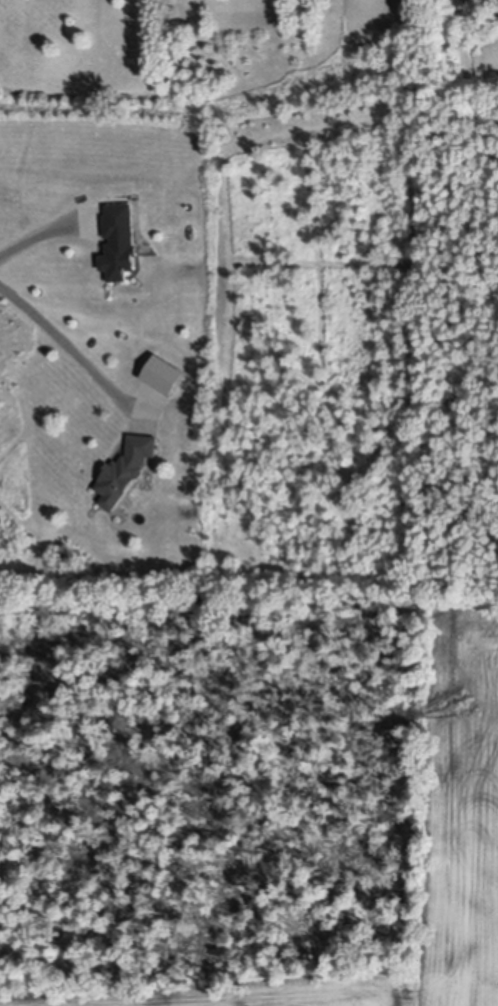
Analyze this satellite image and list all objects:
road: (44, 231)
building: (119, 236)
road: (66, 343)
building: (164, 367)
building: (126, 464)

